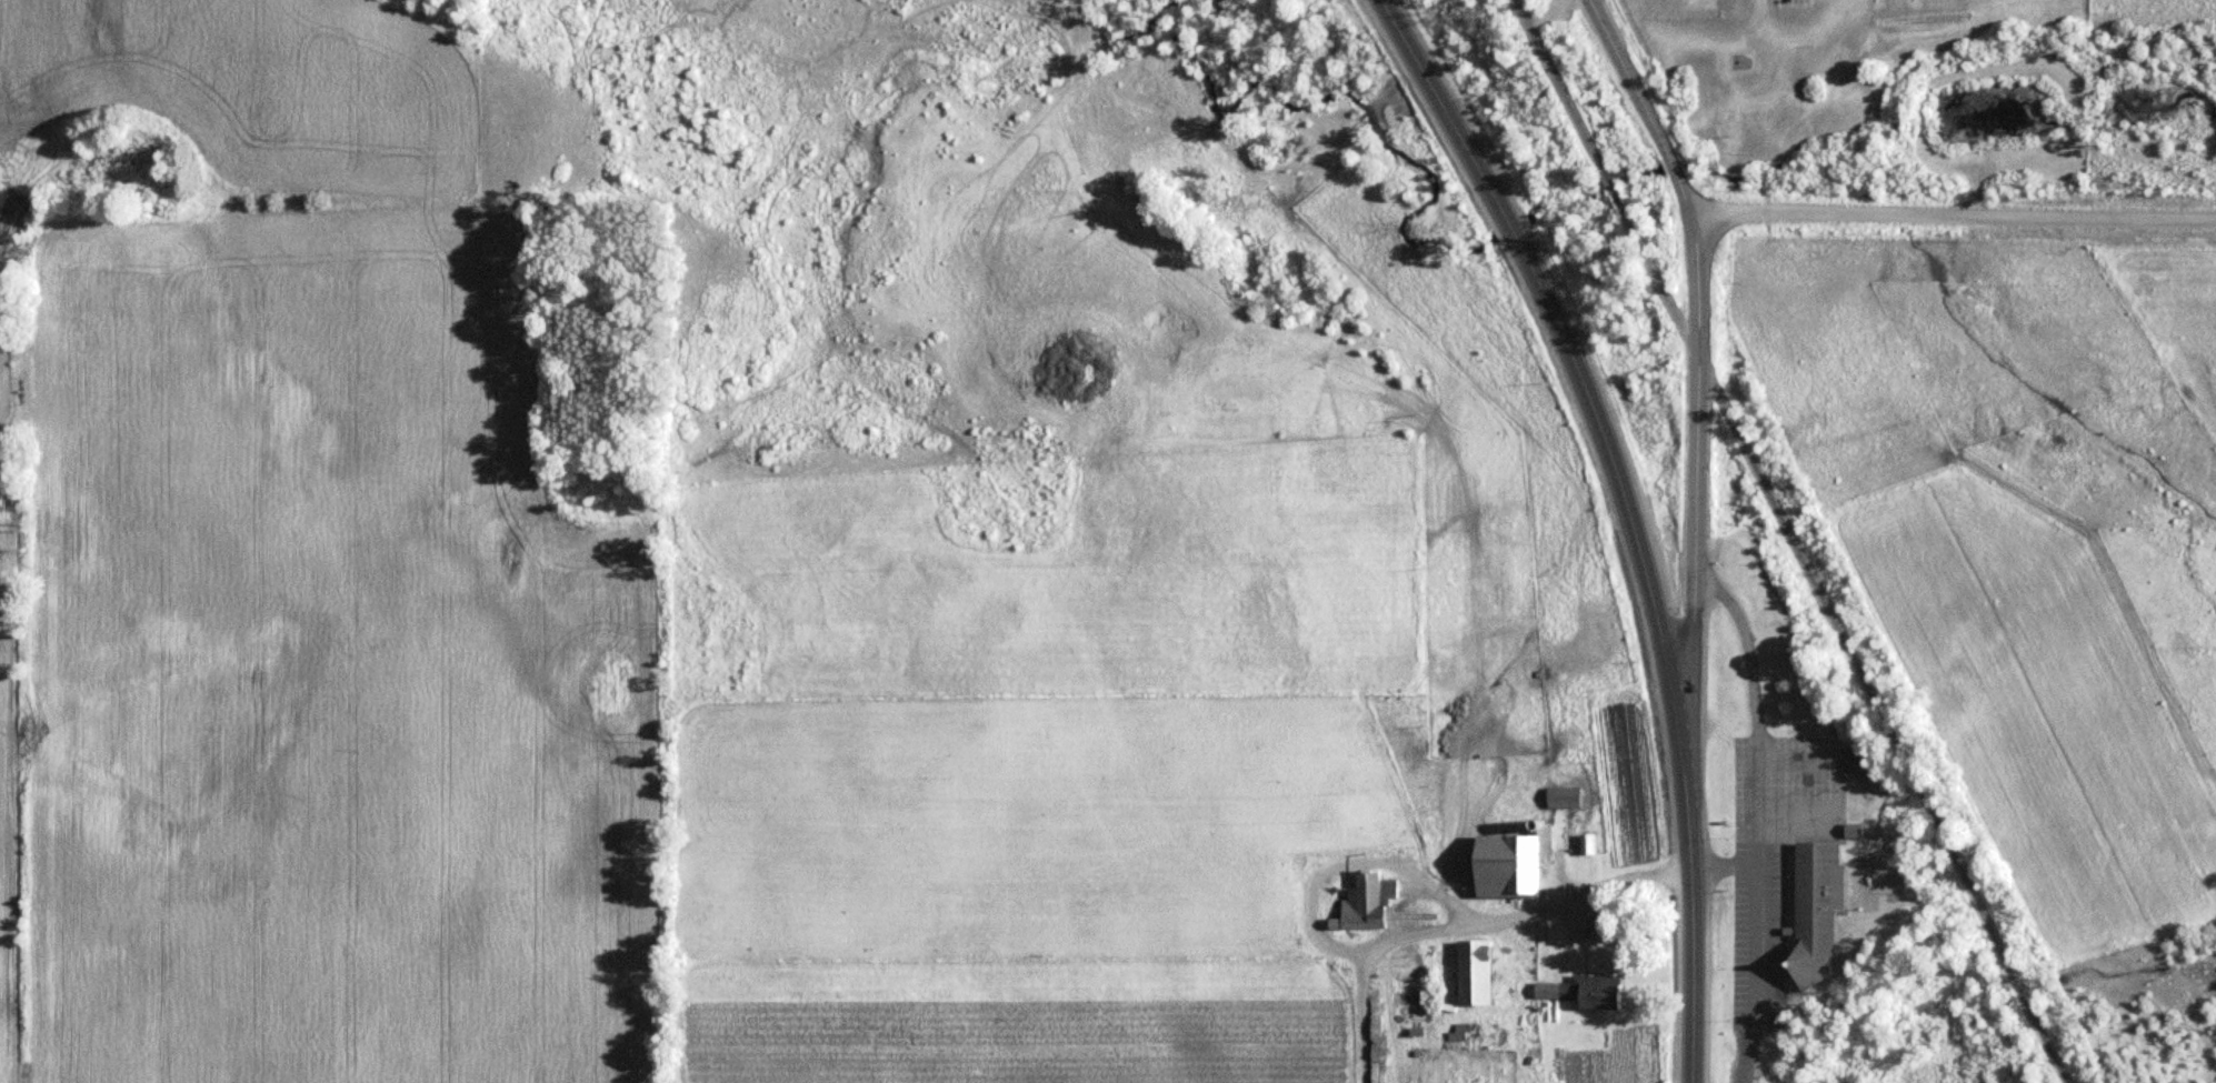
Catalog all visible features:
road: (1687, 0)
road: (1548, 13)
road: (1614, 42)
building: (1739, 60)
road: (1952, 211)
road: (1695, 402)
road: (1627, 517)
road: (1788, 542)
building: (1559, 798)
building: (1507, 863)
building: (1359, 905)
building: (1809, 912)
building: (1469, 973)
building: (1580, 992)

